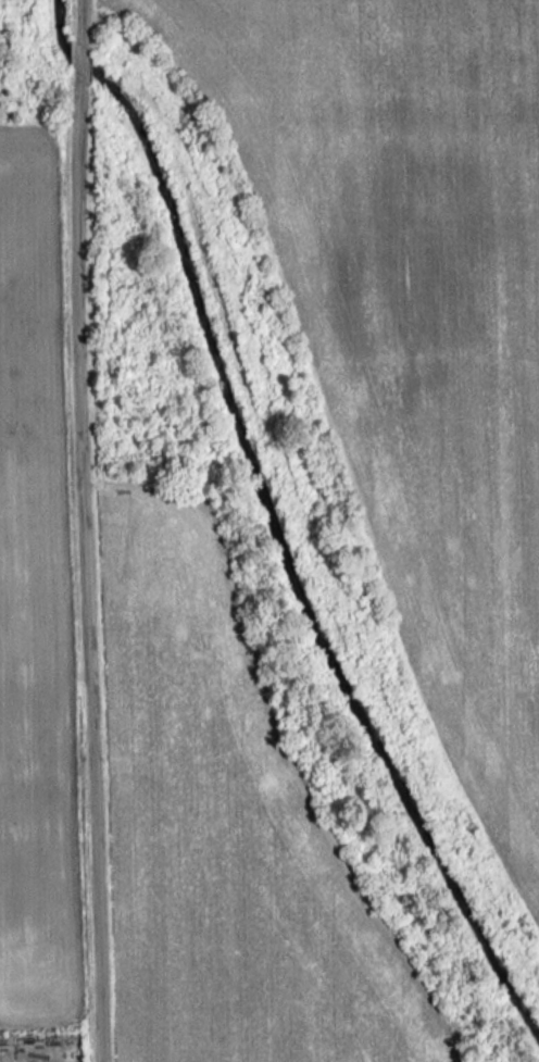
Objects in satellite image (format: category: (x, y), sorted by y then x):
road: (88, 530)

